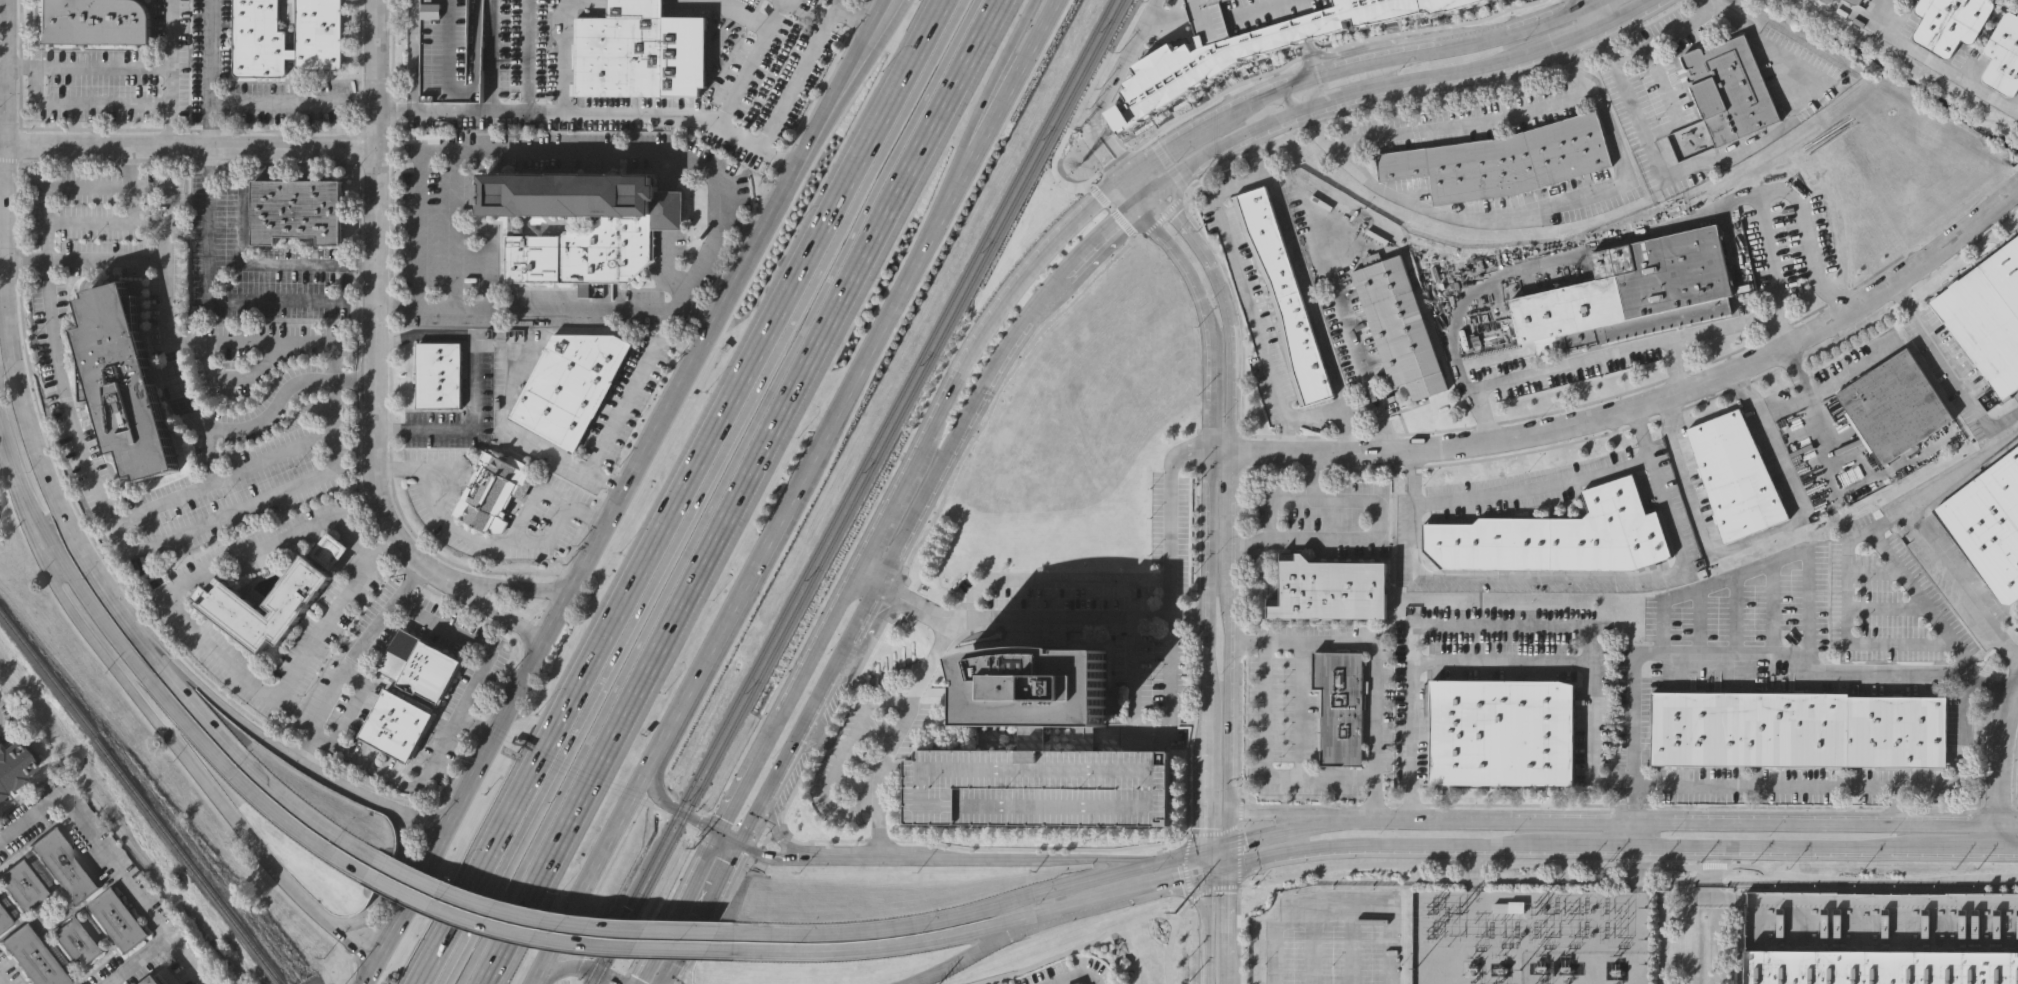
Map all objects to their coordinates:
building: (1486, 0)
building: (1828, 1)
building: (1855, 1)
road: (1584, 2)
road: (1610, 8)
road: (856, 9)
road: (1585, 14)
building: (1246, 15)
parking garage: (1246, 15)
road: (1170, 18)
road: (1022, 19)
road: (847, 20)
road: (1873, 21)
building: (92, 22)
building: (1951, 22)
road: (1509, 31)
road: (1760, 35)
building: (285, 37)
road: (1340, 45)
building: (451, 50)
parking garage: (451, 50)
road: (854, 50)
building: (640, 51)
road: (862, 51)
building: (1247, 52)
building: (2004, 54)
road: (1311, 58)
road: (1125, 61)
road: (1374, 61)
building: (751, 65)
road: (85, 67)
road: (1947, 69)
road: (2, 71)
road: (169, 72)
road: (213, 73)
road: (1015, 76)
road: (1334, 79)
road: (1661, 81)
road: (1396, 86)
road: (1272, 90)
building: (1730, 90)
road: (1436, 95)
road: (993, 96)
road: (1279, 98)
road: (1809, 100)
road: (294, 104)
road: (82, 105)
road: (508, 116)
road: (701, 118)
road: (1459, 126)
road: (1181, 137)
road: (1324, 143)
road: (1, 144)
road: (188, 146)
road: (1116, 146)
road: (1102, 153)
road: (1253, 156)
road: (477, 157)
road: (779, 159)
building: (1504, 159)
road: (1661, 164)
road: (1128, 177)
road: (1145, 182)
road: (1245, 184)
road: (50, 186)
road: (1776, 188)
road: (1130, 194)
building: (582, 196)
road: (1147, 199)
road: (1567, 201)
parking lot: (82, 205)
road: (667, 205)
building: (299, 209)
road: (94, 221)
road: (1661, 226)
road: (455, 231)
road: (1101, 237)
parking lot: (95, 240)
road: (491, 251)
building: (584, 252)
parking lot: (169, 253)
road: (242, 253)
road: (80, 258)
road: (1812, 261)
road: (1777, 272)
parking lot: (124, 273)
building: (1632, 291)
road: (374, 296)
building: (1282, 296)
road: (230, 297)
parking lot: (148, 298)
road: (682, 302)
road: (1079, 302)
road: (1443, 303)
road: (544, 308)
road: (1226, 313)
building: (1988, 313)
road: (1208, 319)
building: (1396, 324)
road: (886, 331)
road: (1348, 332)
road: (416, 334)
road: (181, 340)
road: (468, 341)
road: (1620, 351)
road: (1676, 365)
road: (971, 366)
road: (1853, 367)
road: (1952, 370)
building: (438, 375)
road: (232, 378)
building: (129, 379)
building: (570, 386)
road: (632, 387)
road: (171, 390)
road: (1677, 393)
road: (1814, 403)
building: (1891, 407)
road: (1339, 409)
road: (249, 425)
road: (969, 429)
road: (461, 431)
road: (1286, 435)
road: (525, 440)
road: (1221, 454)
road: (1258, 454)
road: (1212, 455)
road: (1194, 456)
building: (1734, 478)
building: (493, 488)
road: (1534, 488)
road: (715, 491)
road: (737, 491)
road: (682, 492)
road: (701, 492)
railway: (847, 492)
railway: (858, 492)
road: (1269, 497)
road: (533, 502)
road: (230, 512)
road: (114, 520)
road: (1889, 522)
building: (1987, 526)
road: (1918, 527)
road: (1373, 535)
road: (1757, 535)
road: (1861, 538)
road: (479, 539)
building: (1554, 539)
road: (1172, 540)
building: (327, 542)
road: (593, 542)
road: (81, 554)
road: (1874, 571)
road: (1571, 576)
road: (500, 580)
road: (868, 583)
road: (1052, 583)
road: (1810, 589)
building: (1330, 590)
building: (263, 595)
road: (1887, 607)
road: (482, 609)
road: (914, 609)
road: (1771, 609)
road: (1735, 615)
road: (961, 621)
road: (1699, 621)
road: (1936, 624)
road: (721, 633)
road: (203, 639)
road: (1249, 639)
road: (1849, 640)
road: (1585, 641)
road: (1228, 647)
road: (1210, 651)
road: (351, 659)
road: (1499, 661)
building: (422, 664)
road: (1940, 672)
building: (1032, 680)
road: (1378, 680)
road: (143, 681)
building: (1341, 701)
road: (787, 704)
road: (355, 705)
road: (231, 713)
building: (398, 724)
road: (453, 724)
road: (1412, 725)
road: (473, 726)
building: (1798, 727)
building: (1503, 731)
road: (1150, 733)
road: (1633, 738)
road: (173, 744)
building: (14, 763)
road: (1994, 763)
road: (1265, 766)
road: (893, 772)
building: (1037, 786)
parking garage: (1037, 786)
road: (1800, 786)
road: (774, 787)
railway: (143, 799)
road: (1896, 806)
road: (1283, 812)
road: (414, 813)
road: (1422, 822)
road: (1525, 823)
road: (1318, 824)
road: (1779, 824)
traffic signals: (716, 830)
road: (1262, 831)
road: (1211, 832)
road: (1634, 834)
road: (777, 835)
traffic signals: (1227, 840)
road: (1217, 842)
traffic signals: (743, 844)
road: (1431, 844)
traffic signals: (1208, 845)
road: (1604, 845)
road: (1778, 846)
road: (1957, 846)
road: (2004, 847)
road: (1226, 853)
road: (1238, 857)
road: (1257, 857)
road: (110, 858)
road: (1208, 859)
road: (870, 862)
building: (65, 864)
road: (1579, 865)
road: (1184, 866)
traffic signals: (1226, 866)
road: (1217, 869)
road: (592, 871)
traffic signals: (1208, 873)
road: (383, 882)
building: (21, 885)
road: (1213, 888)
road: (1333, 900)
road: (1837, 902)
road: (674, 907)
building: (1508, 908)
road: (973, 910)
building: (118, 918)
building: (4, 919)
road: (545, 921)
road: (1226, 925)
road: (1207, 928)
road: (1390, 928)
road: (972, 932)
road: (1274, 932)
power substation: (1530, 936)
road: (539, 938)
parking lot: (1335, 938)
building: (78, 940)
road: (1170, 940)
road: (980, 947)
road: (1076, 947)
building: (34, 956)
road: (134, 958)
building: (1881, 966)
road: (574, 967)
road: (1071, 975)
road: (2, 980)
building: (155, 980)
road: (535, 983)
building: (1077, 983)

